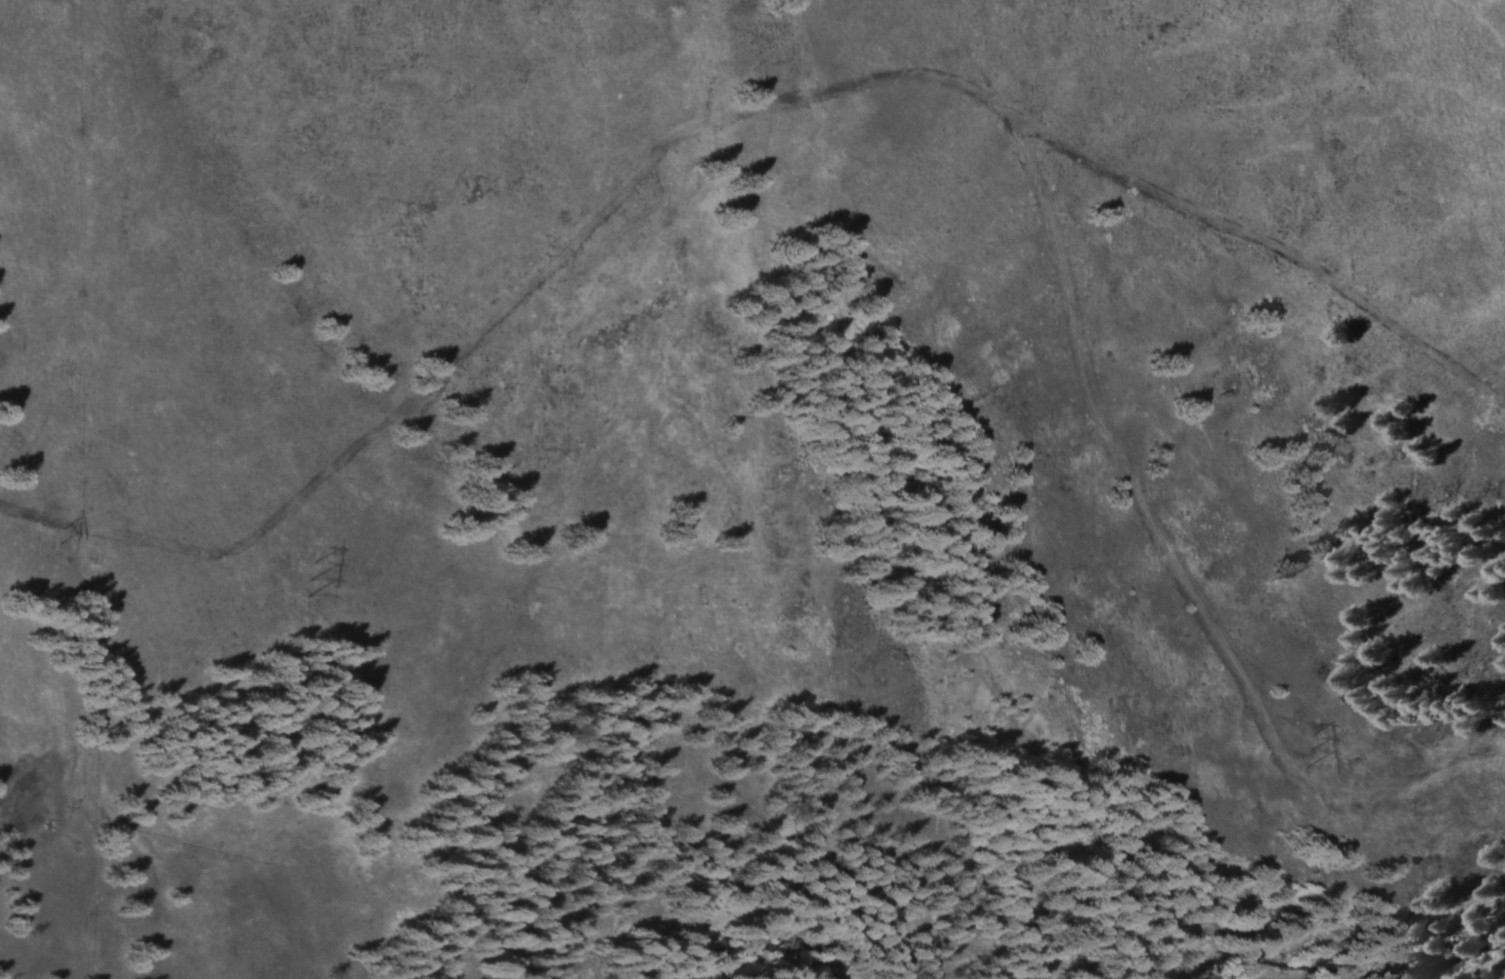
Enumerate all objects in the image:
power tower: (72, 533)
power tower: (313, 585)
power tower: (1313, 749)

